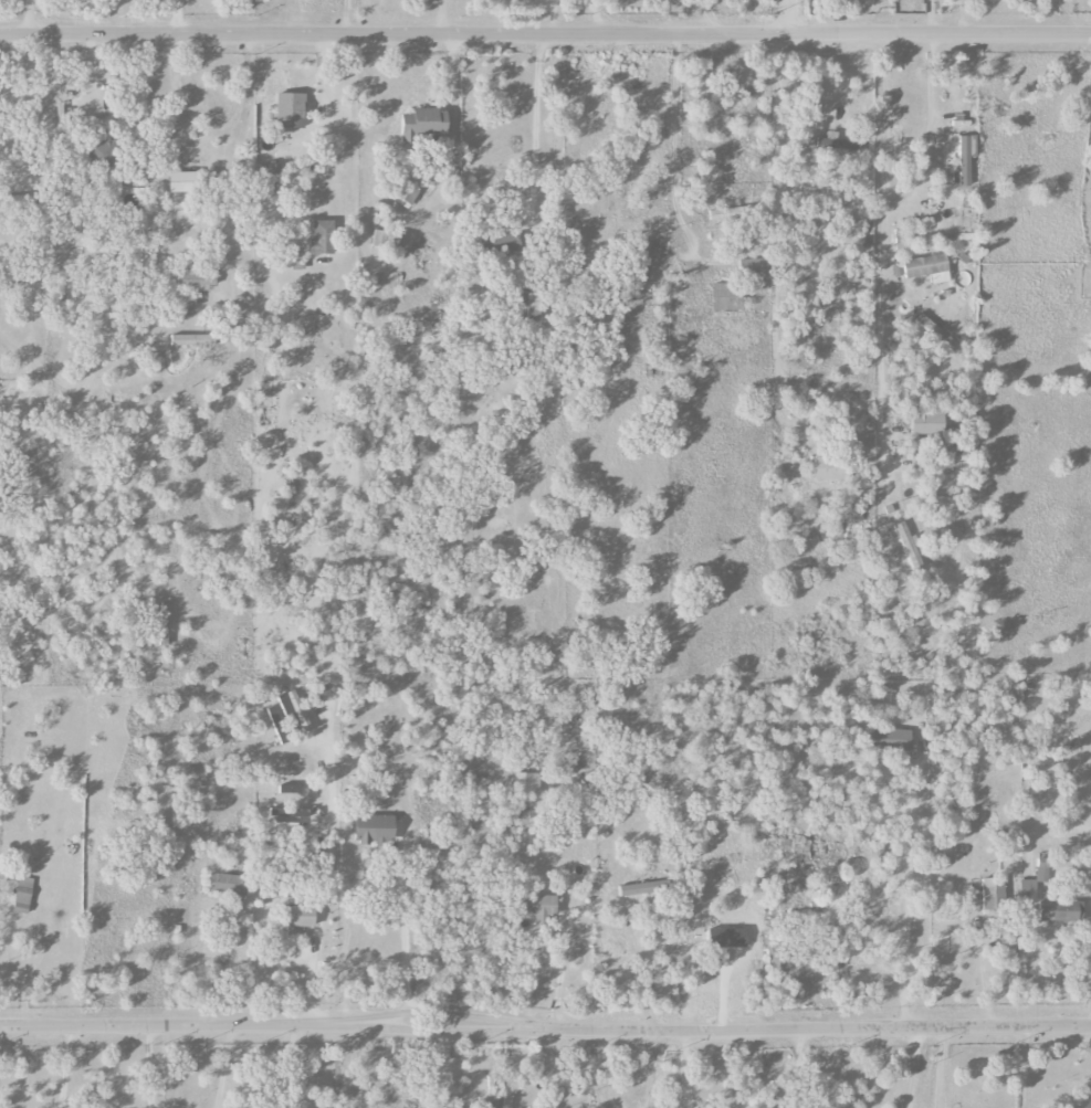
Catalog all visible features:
building: (260, 1)
road: (954, 18)
road: (29, 19)
road: (178, 19)
road: (345, 19)
road: (439, 19)
road: (790, 19)
road: (550, 20)
road: (598, 20)
road: (545, 40)
road: (450, 96)
road: (833, 96)
building: (290, 110)
road: (531, 124)
building: (423, 125)
road: (926, 133)
building: (832, 143)
building: (98, 156)
building: (965, 158)
road: (227, 163)
building: (945, 178)
building: (191, 181)
building: (403, 194)
building: (11, 201)
road: (777, 210)
building: (728, 213)
building: (322, 238)
building: (385, 240)
building: (507, 244)
road: (883, 254)
building: (751, 267)
building: (926, 268)
building: (195, 279)
building: (725, 296)
building: (527, 305)
building: (936, 334)
building: (192, 340)
building: (927, 424)
building: (829, 468)
building: (908, 546)
building: (294, 709)
building: (277, 725)
building: (887, 739)
building: (522, 750)
building: (525, 783)
building: (293, 790)
building: (271, 800)
building: (281, 821)
building: (374, 829)
road: (328, 864)
road: (925, 864)
building: (1034, 882)
building: (228, 884)
road: (379, 885)
building: (641, 888)
building: (993, 893)
building: (23, 894)
building: (538, 905)
building: (1060, 911)
building: (296, 915)
building: (776, 959)
road: (1090, 962)
road: (647, 964)
road: (24, 971)
road: (545, 1027)
road: (222, 1065)
road: (64, 1066)
road: (148, 1066)
road: (913, 1066)
road: (940, 1066)
road: (1020, 1066)
road: (682, 1068)
building: (508, 1094)

